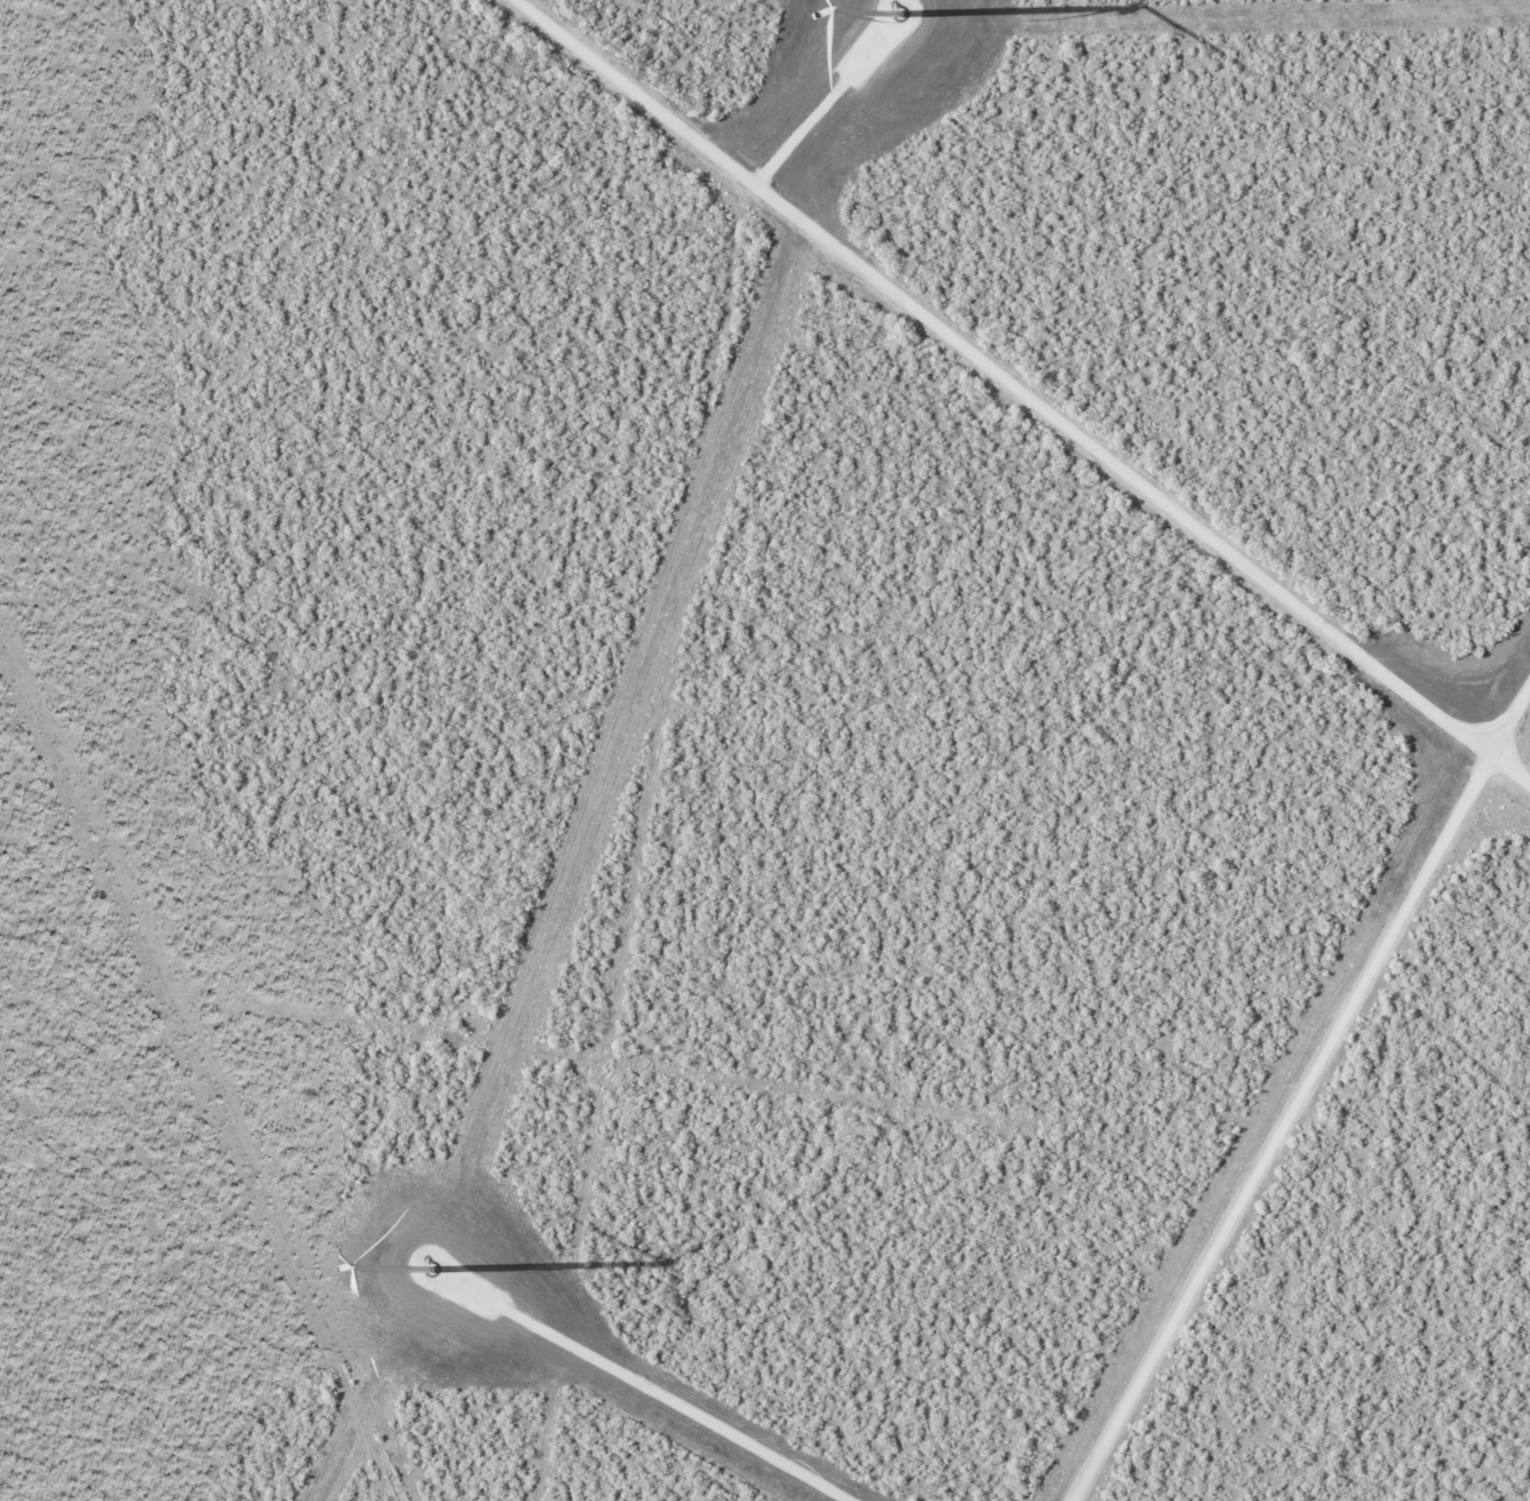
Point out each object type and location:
wind turbine: (895, 3)
road: (981, 415)
road: (1518, 784)
wind turbine: (425, 1250)

